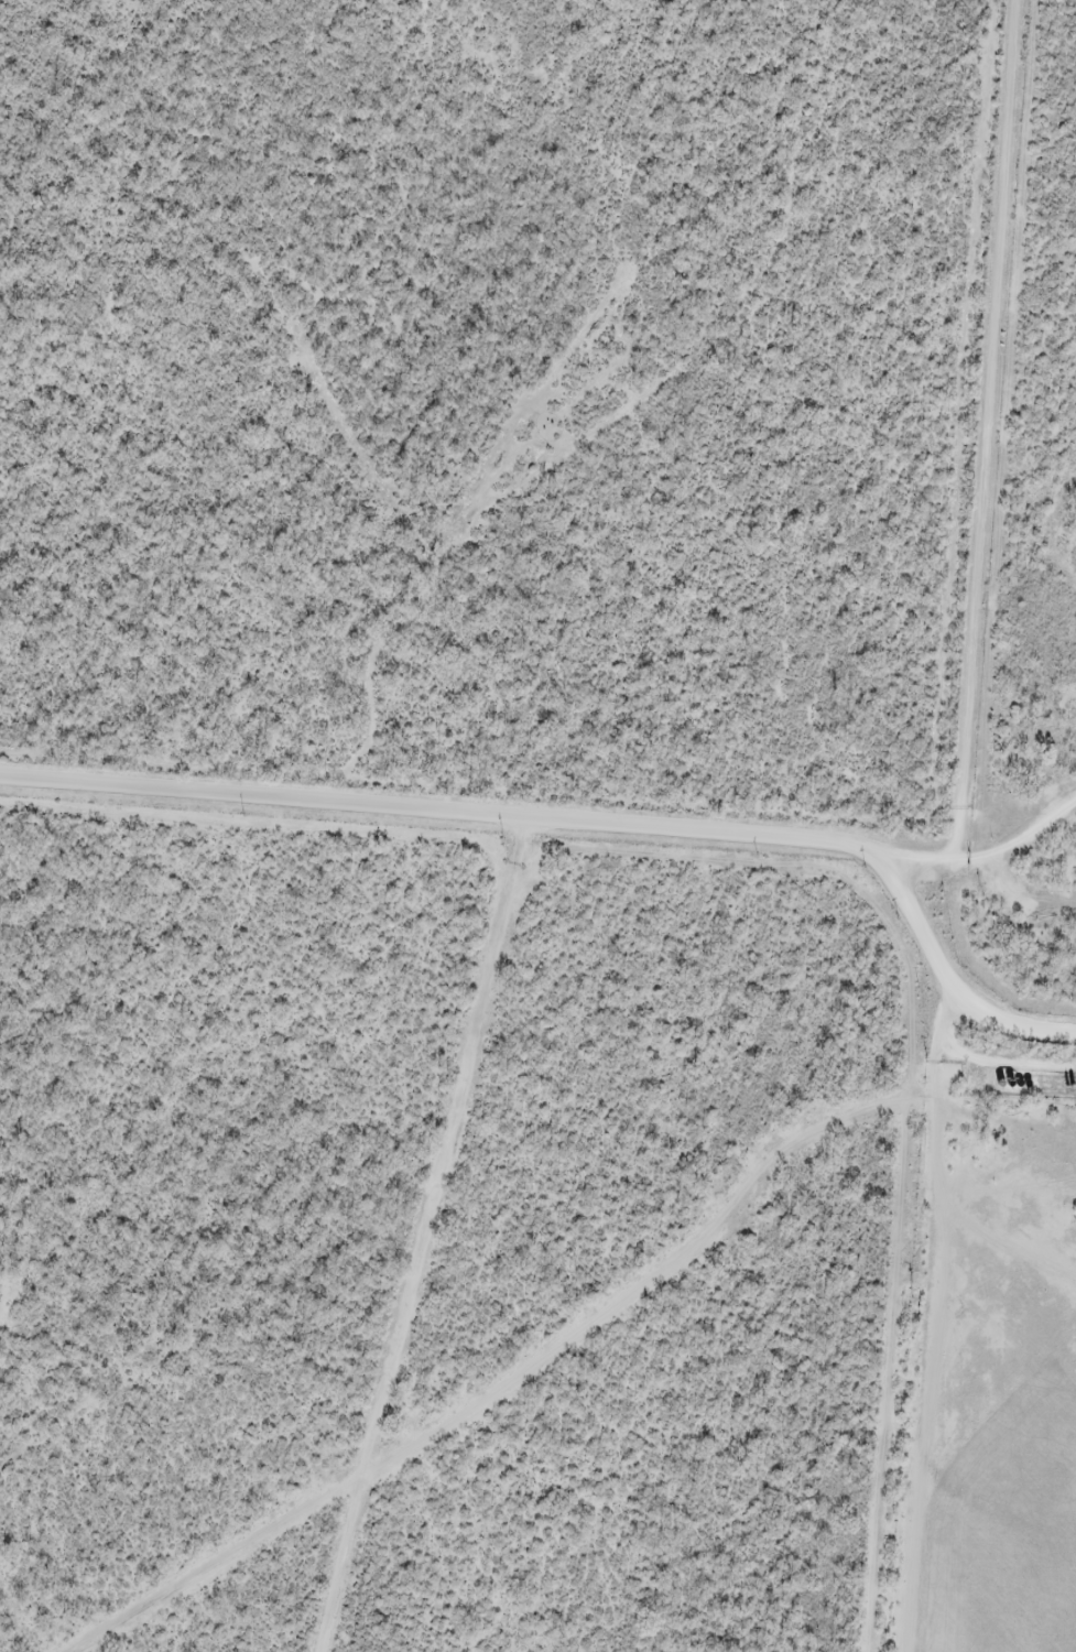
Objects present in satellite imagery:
road: (995, 413)
road: (453, 803)
road: (981, 815)
road: (935, 944)
road: (1023, 1030)
road: (430, 1230)
road: (915, 1332)

